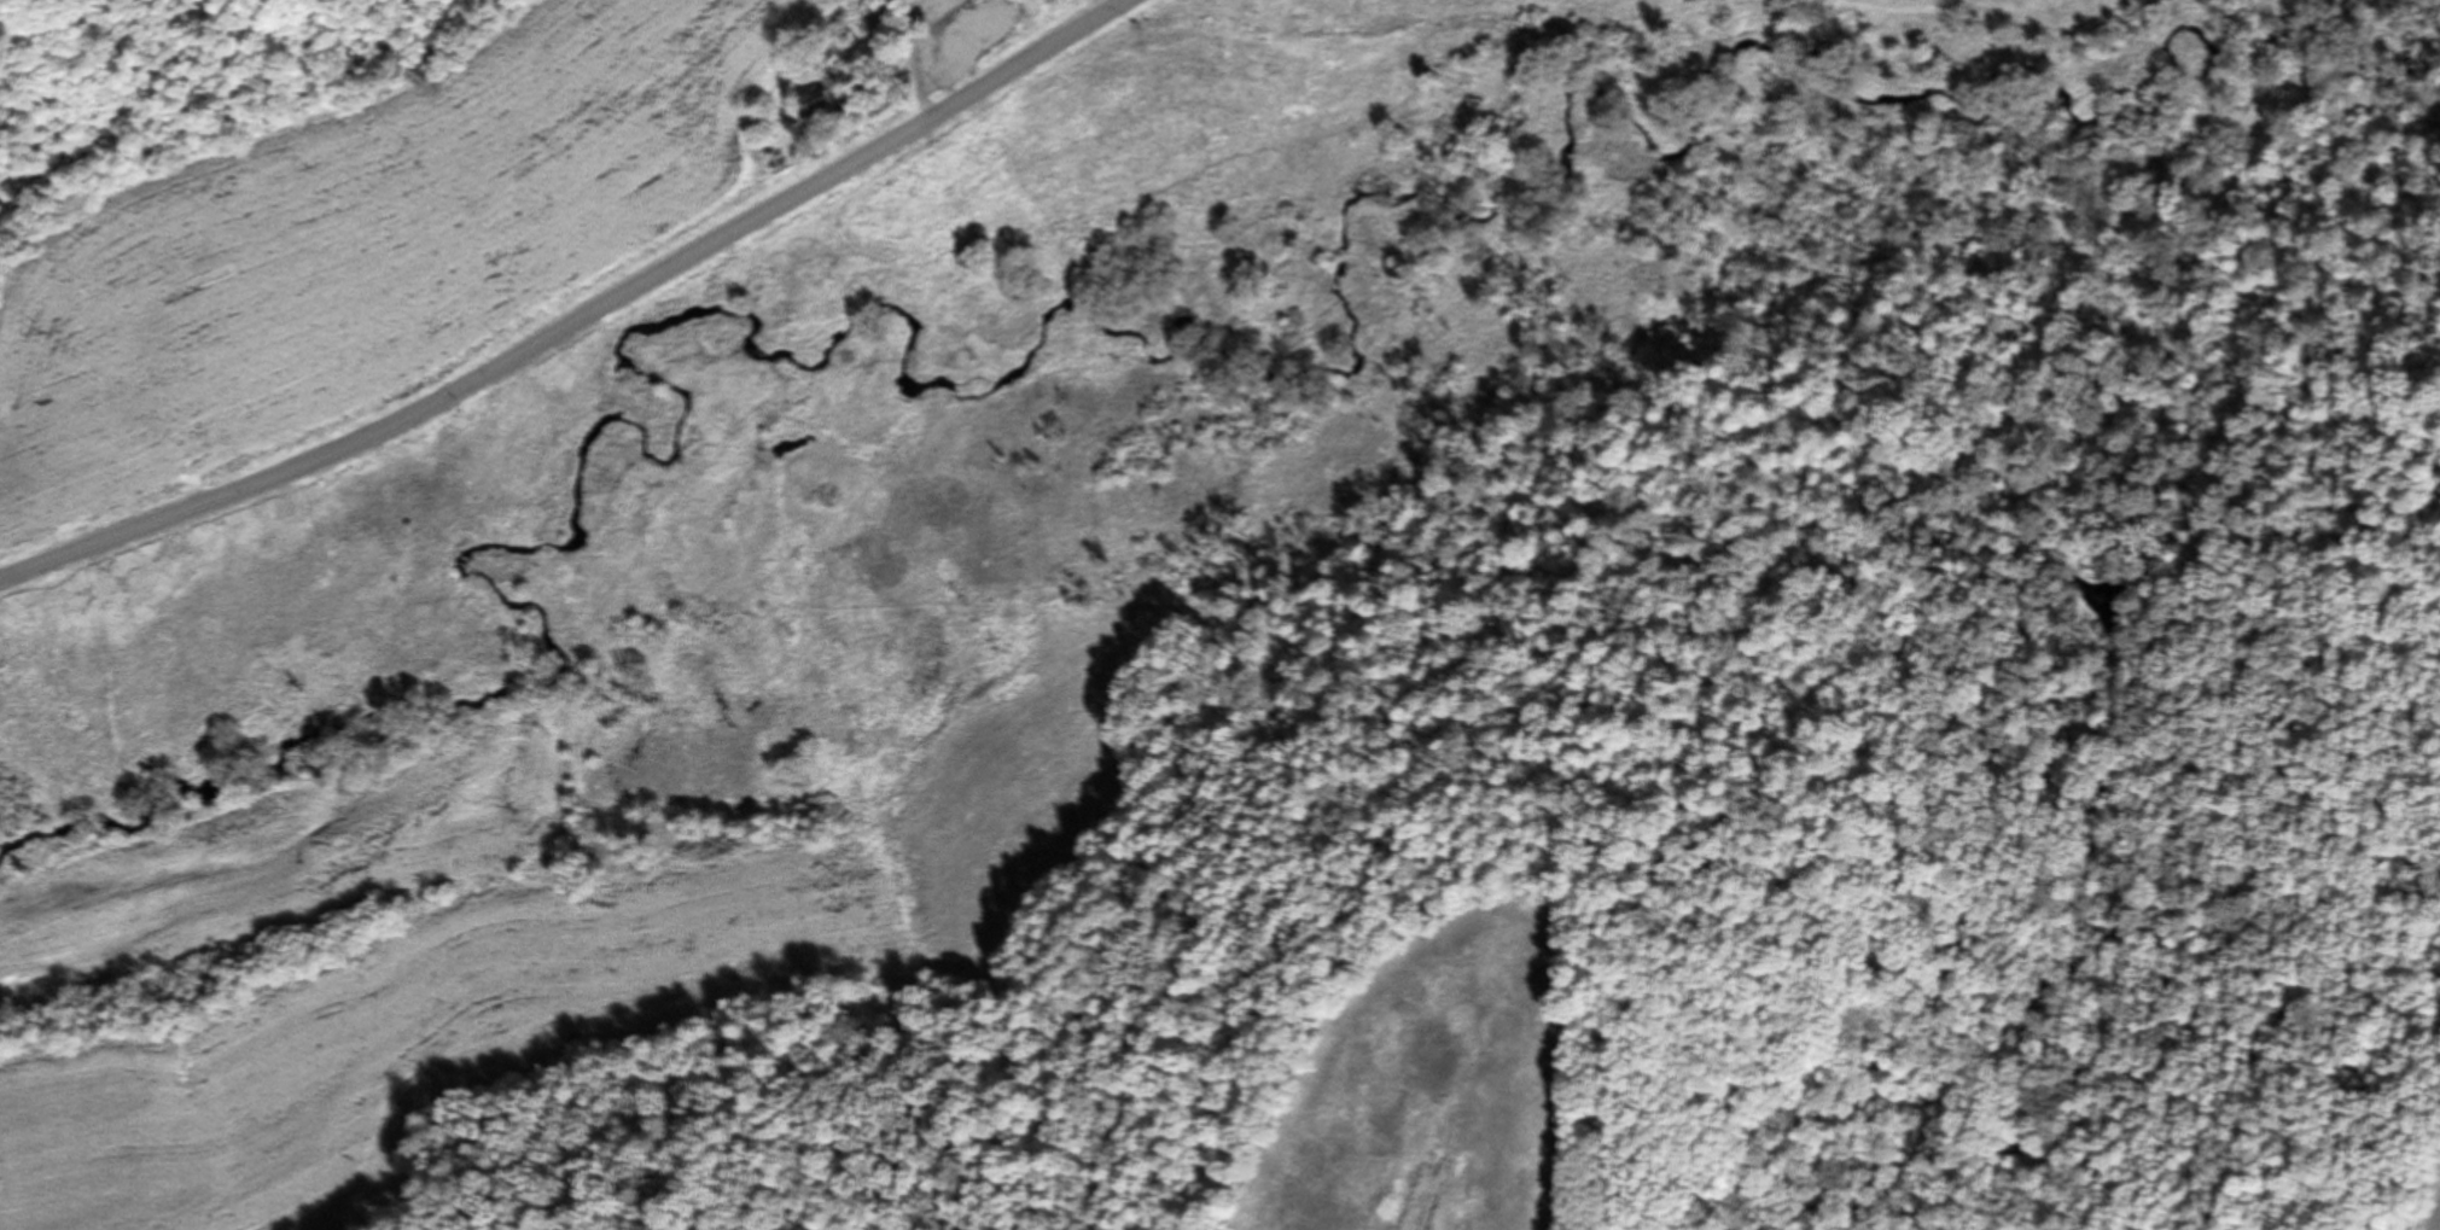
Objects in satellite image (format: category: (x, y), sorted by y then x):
building: (947, 75)
quarry: (21, 78)
building: (814, 103)
road: (582, 321)

